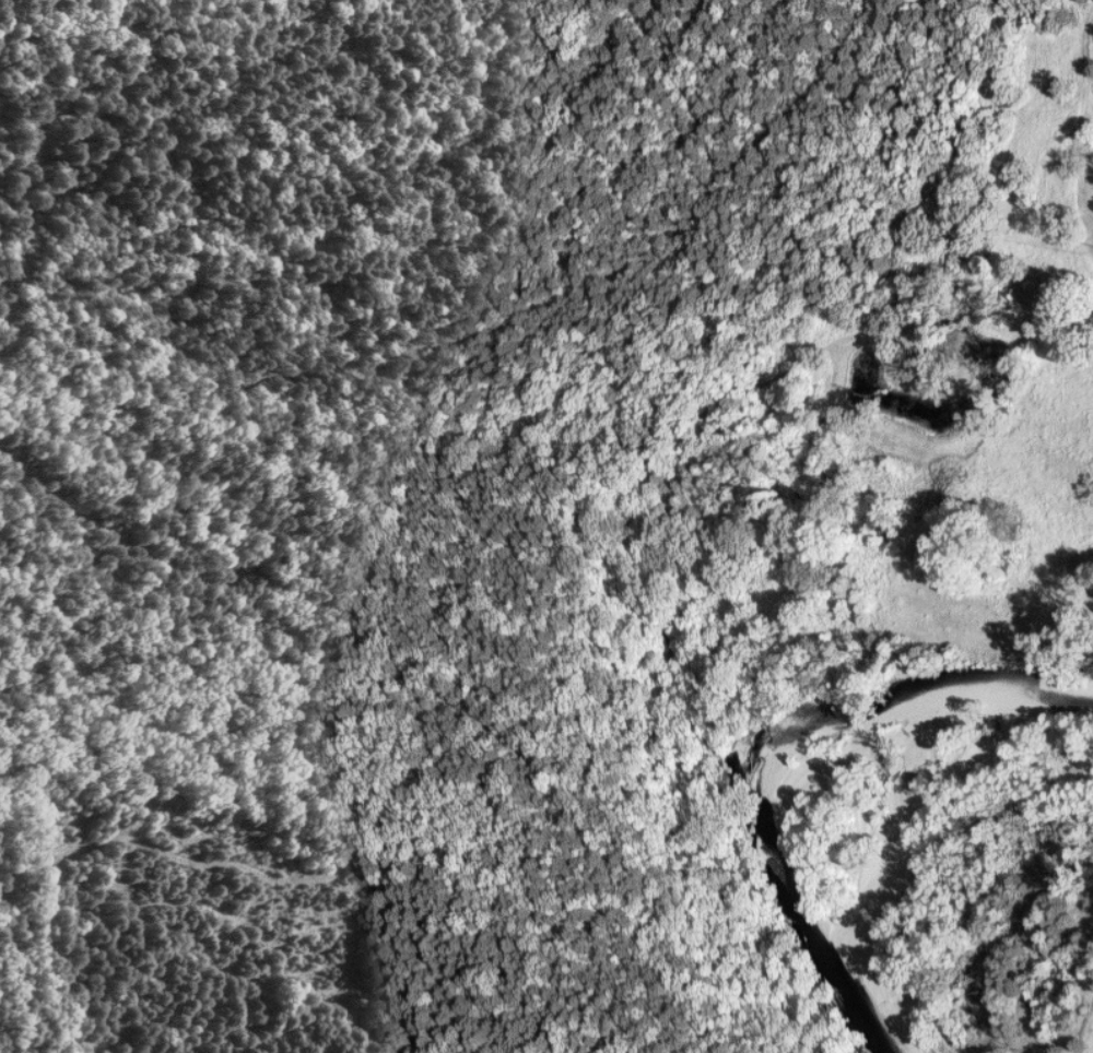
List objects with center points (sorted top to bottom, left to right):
road: (1091, 62)

